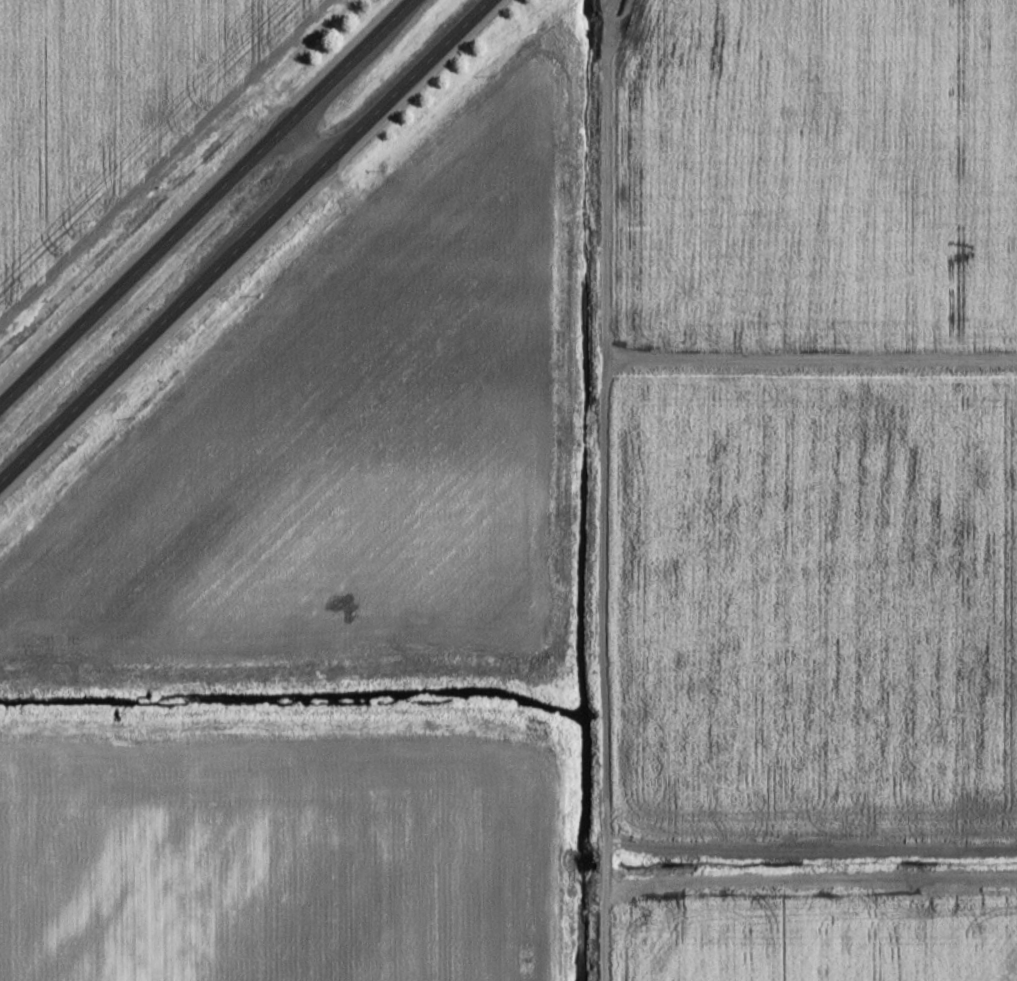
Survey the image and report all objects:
road: (208, 203)
road: (246, 239)
road: (608, 489)

